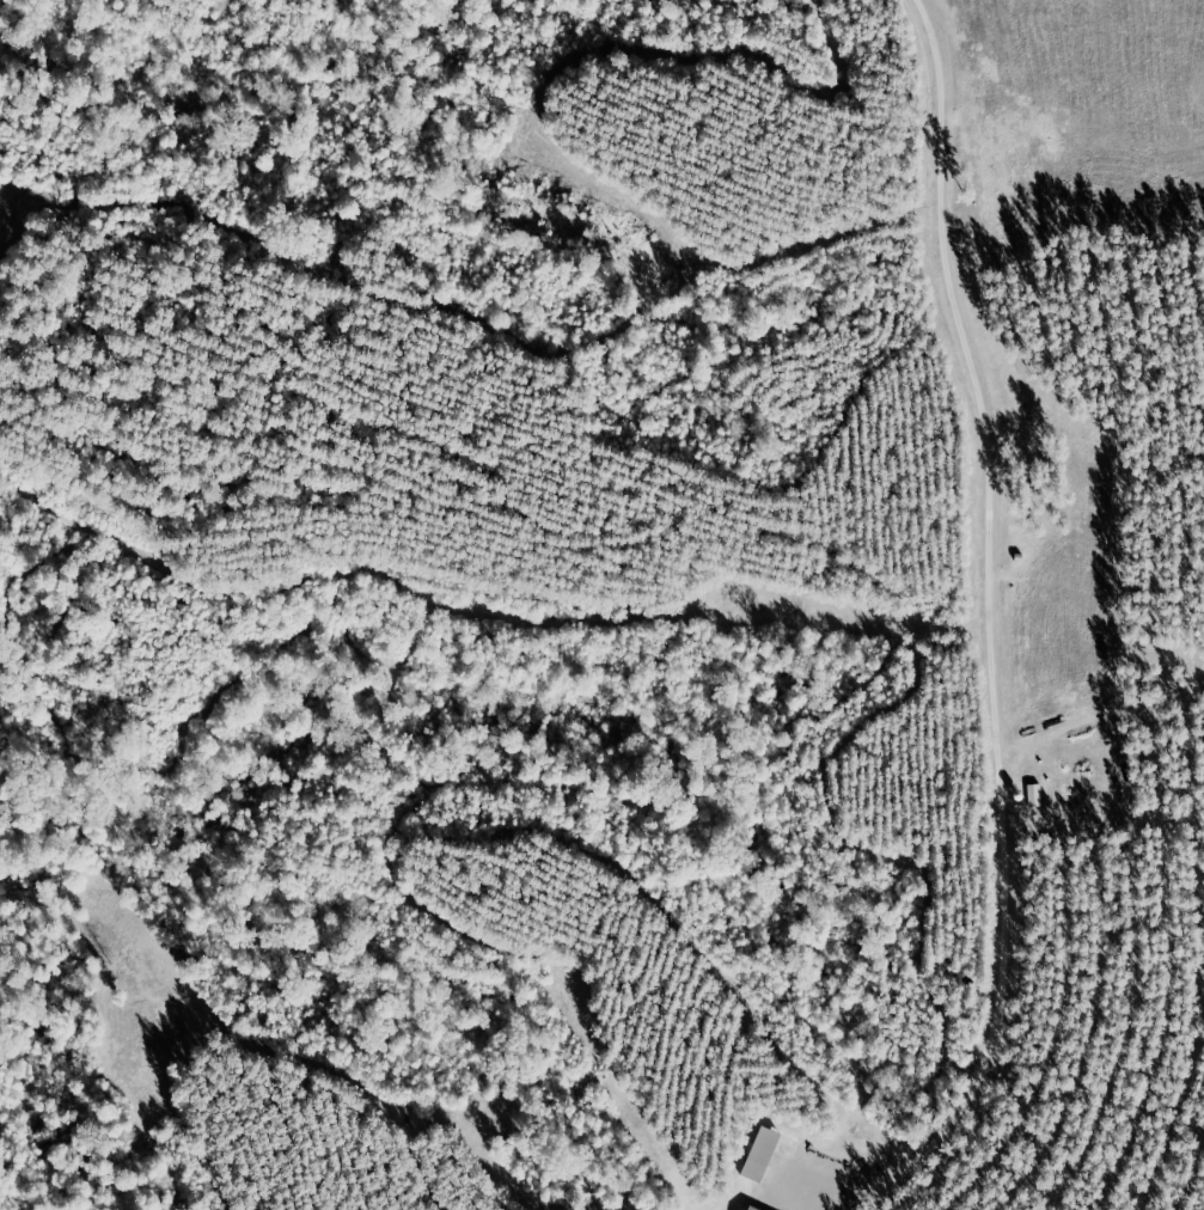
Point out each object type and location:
road: (989, 624)
building: (759, 1154)
building: (745, 1209)

